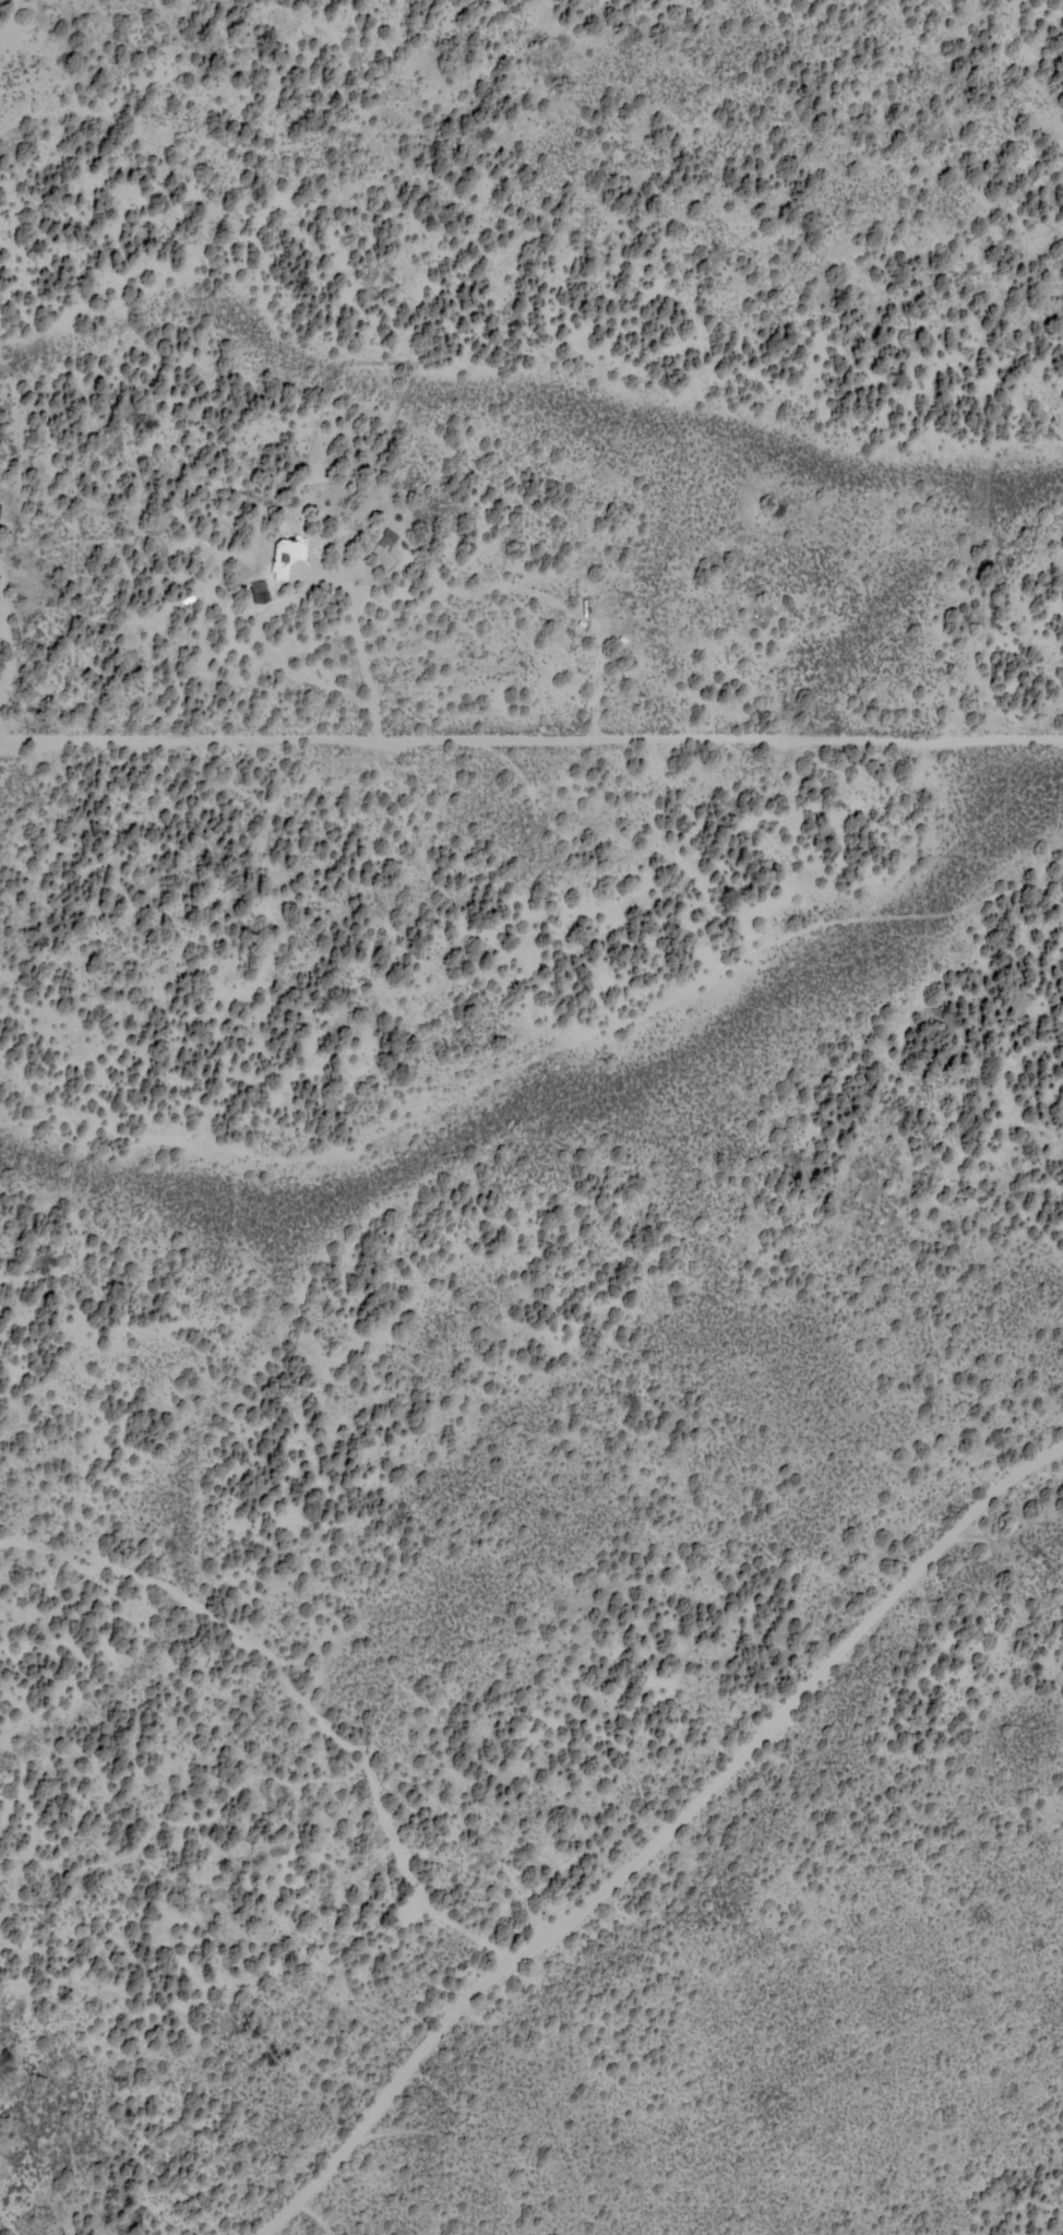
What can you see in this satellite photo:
building: (287, 555)
building: (260, 591)
road: (826, 1333)
road: (622, 1841)
road: (773, 1966)

